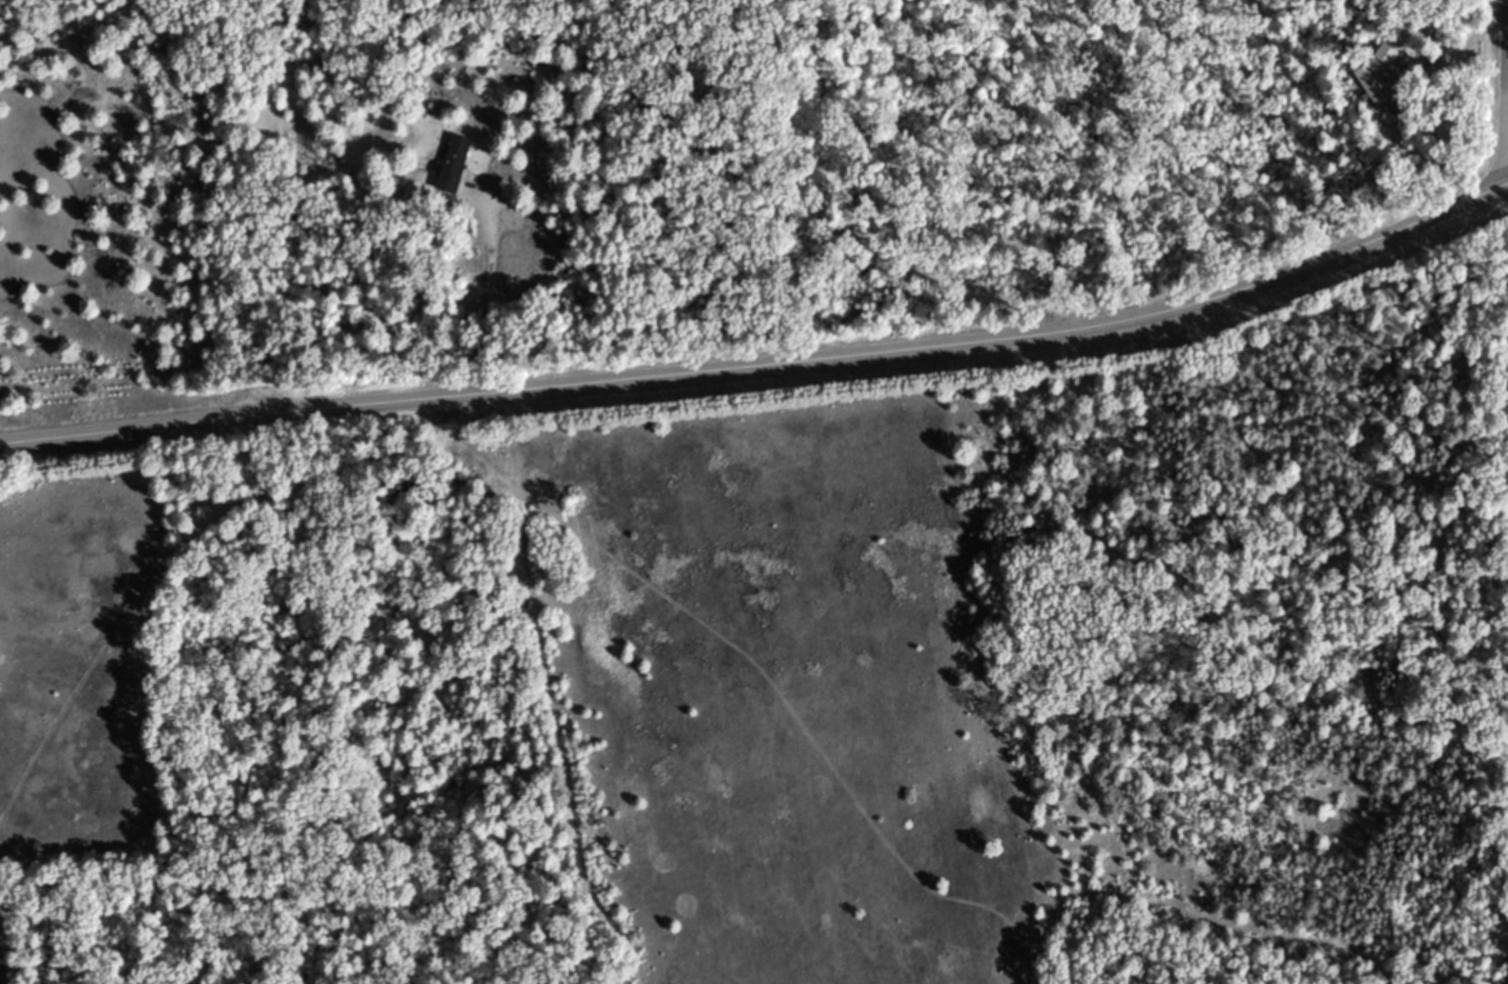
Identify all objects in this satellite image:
road: (1457, 48)
building: (1376, 77)
building: (452, 164)
road: (487, 287)
road: (767, 361)

